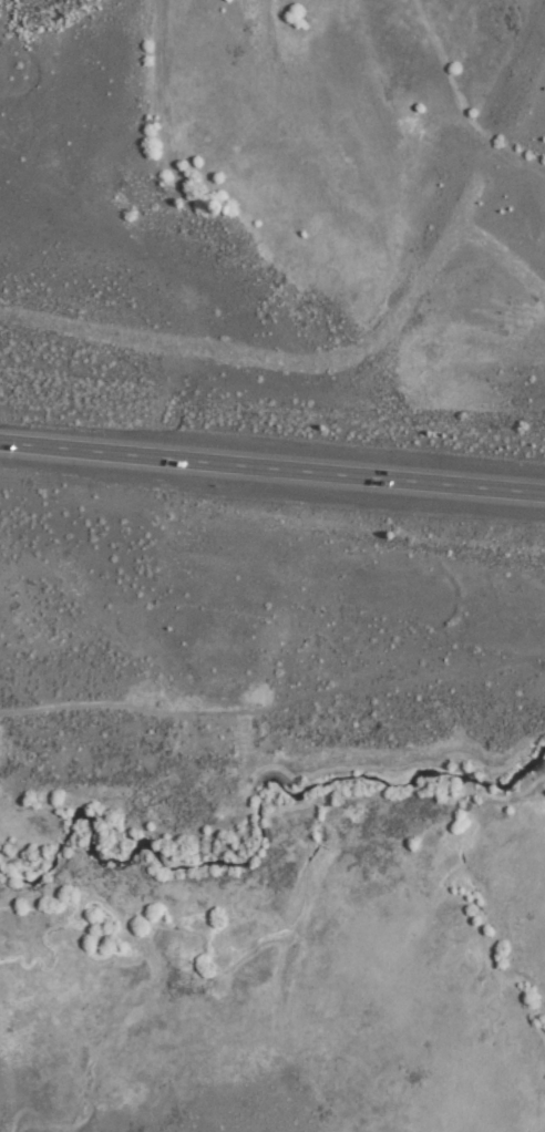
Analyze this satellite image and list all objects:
road: (271, 467)
road: (272, 693)

